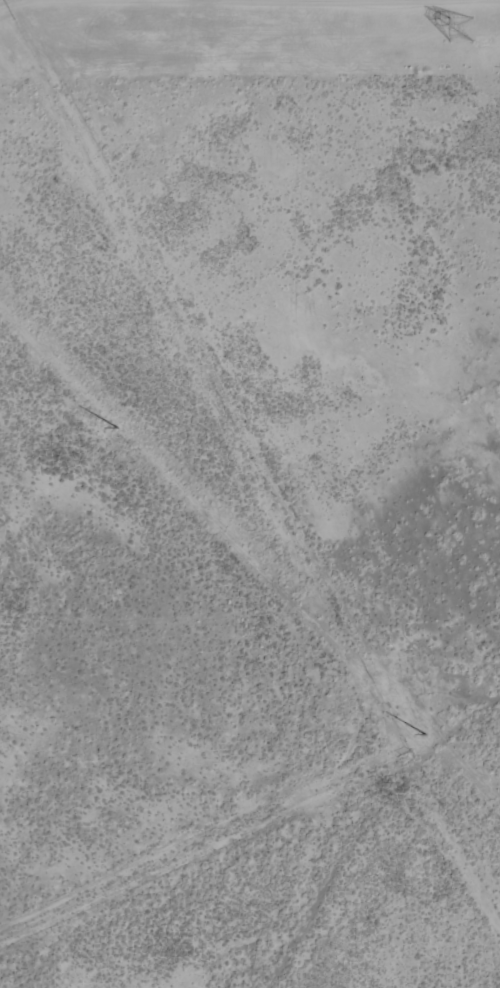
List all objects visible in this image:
power tower: (467, 19)
power tower: (114, 427)
power tower: (422, 731)
road: (349, 815)

